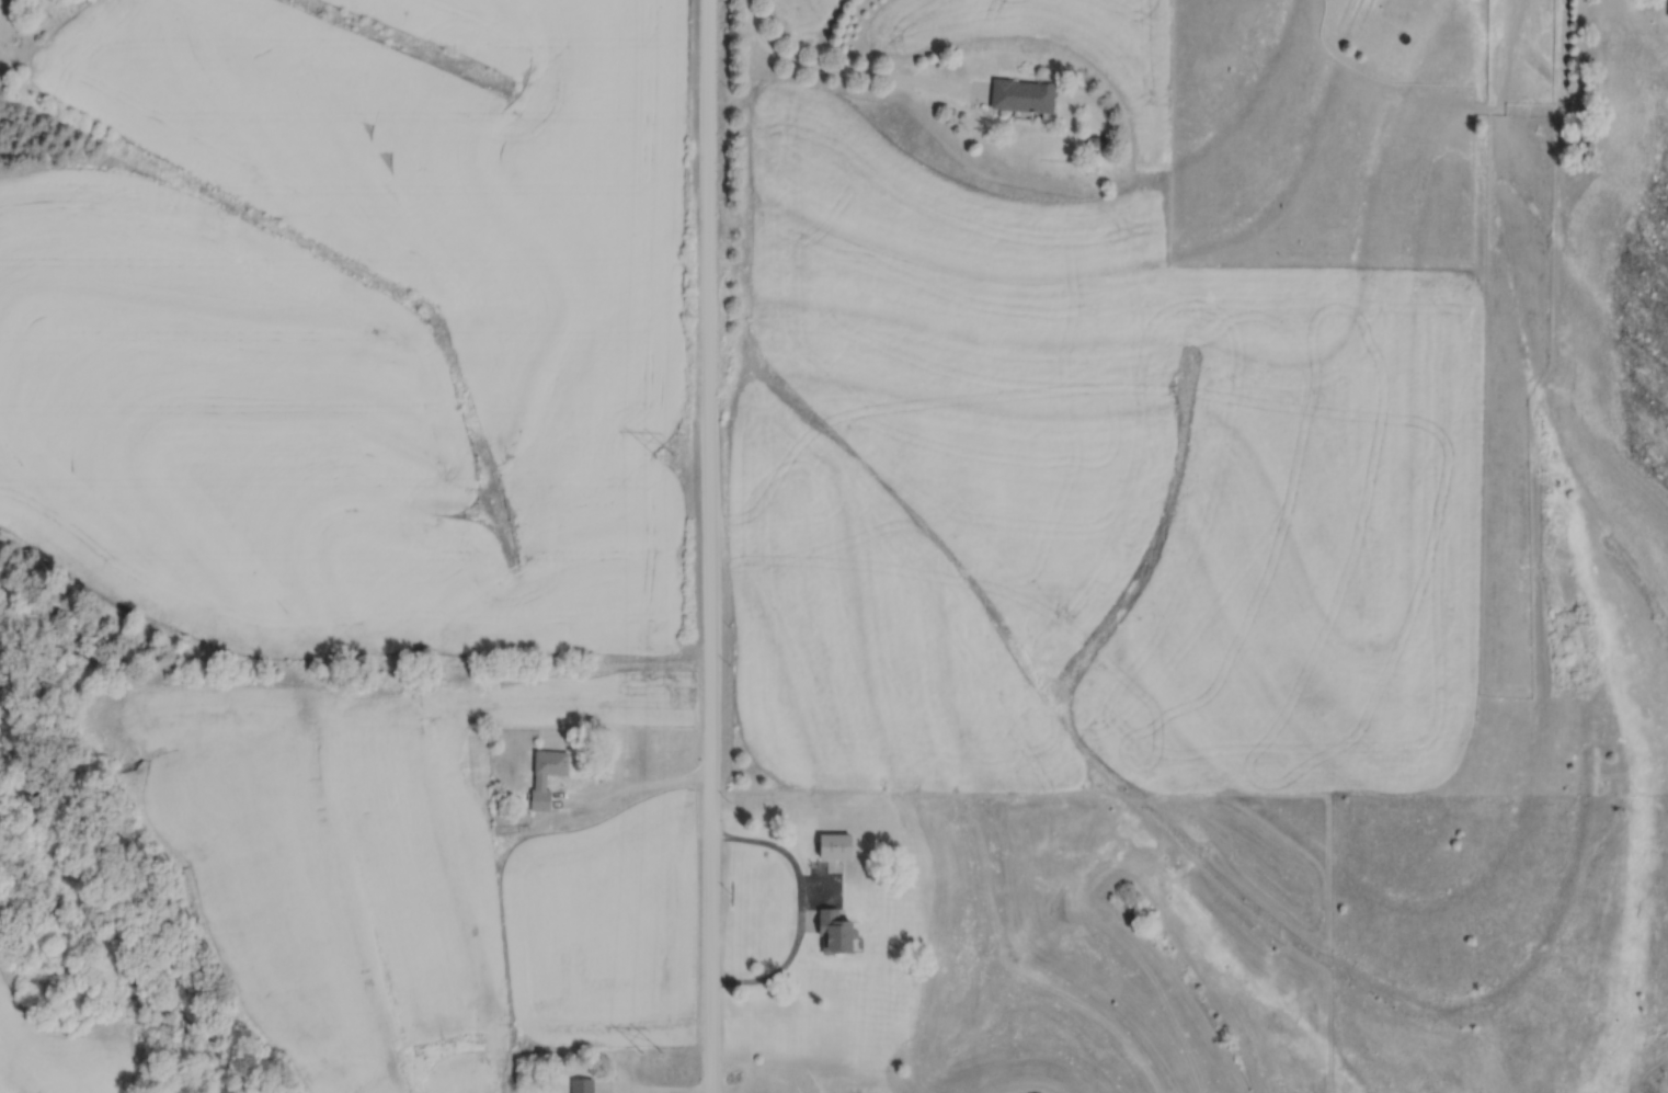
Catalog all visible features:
building: (1667, 8)
road: (850, 77)
building: (1019, 94)
power tower: (660, 454)
road: (711, 546)
building: (536, 782)
road: (641, 789)
building: (831, 846)
road: (800, 913)
building: (831, 933)
power tower: (647, 1049)
building: (579, 1085)
road: (655, 1088)

